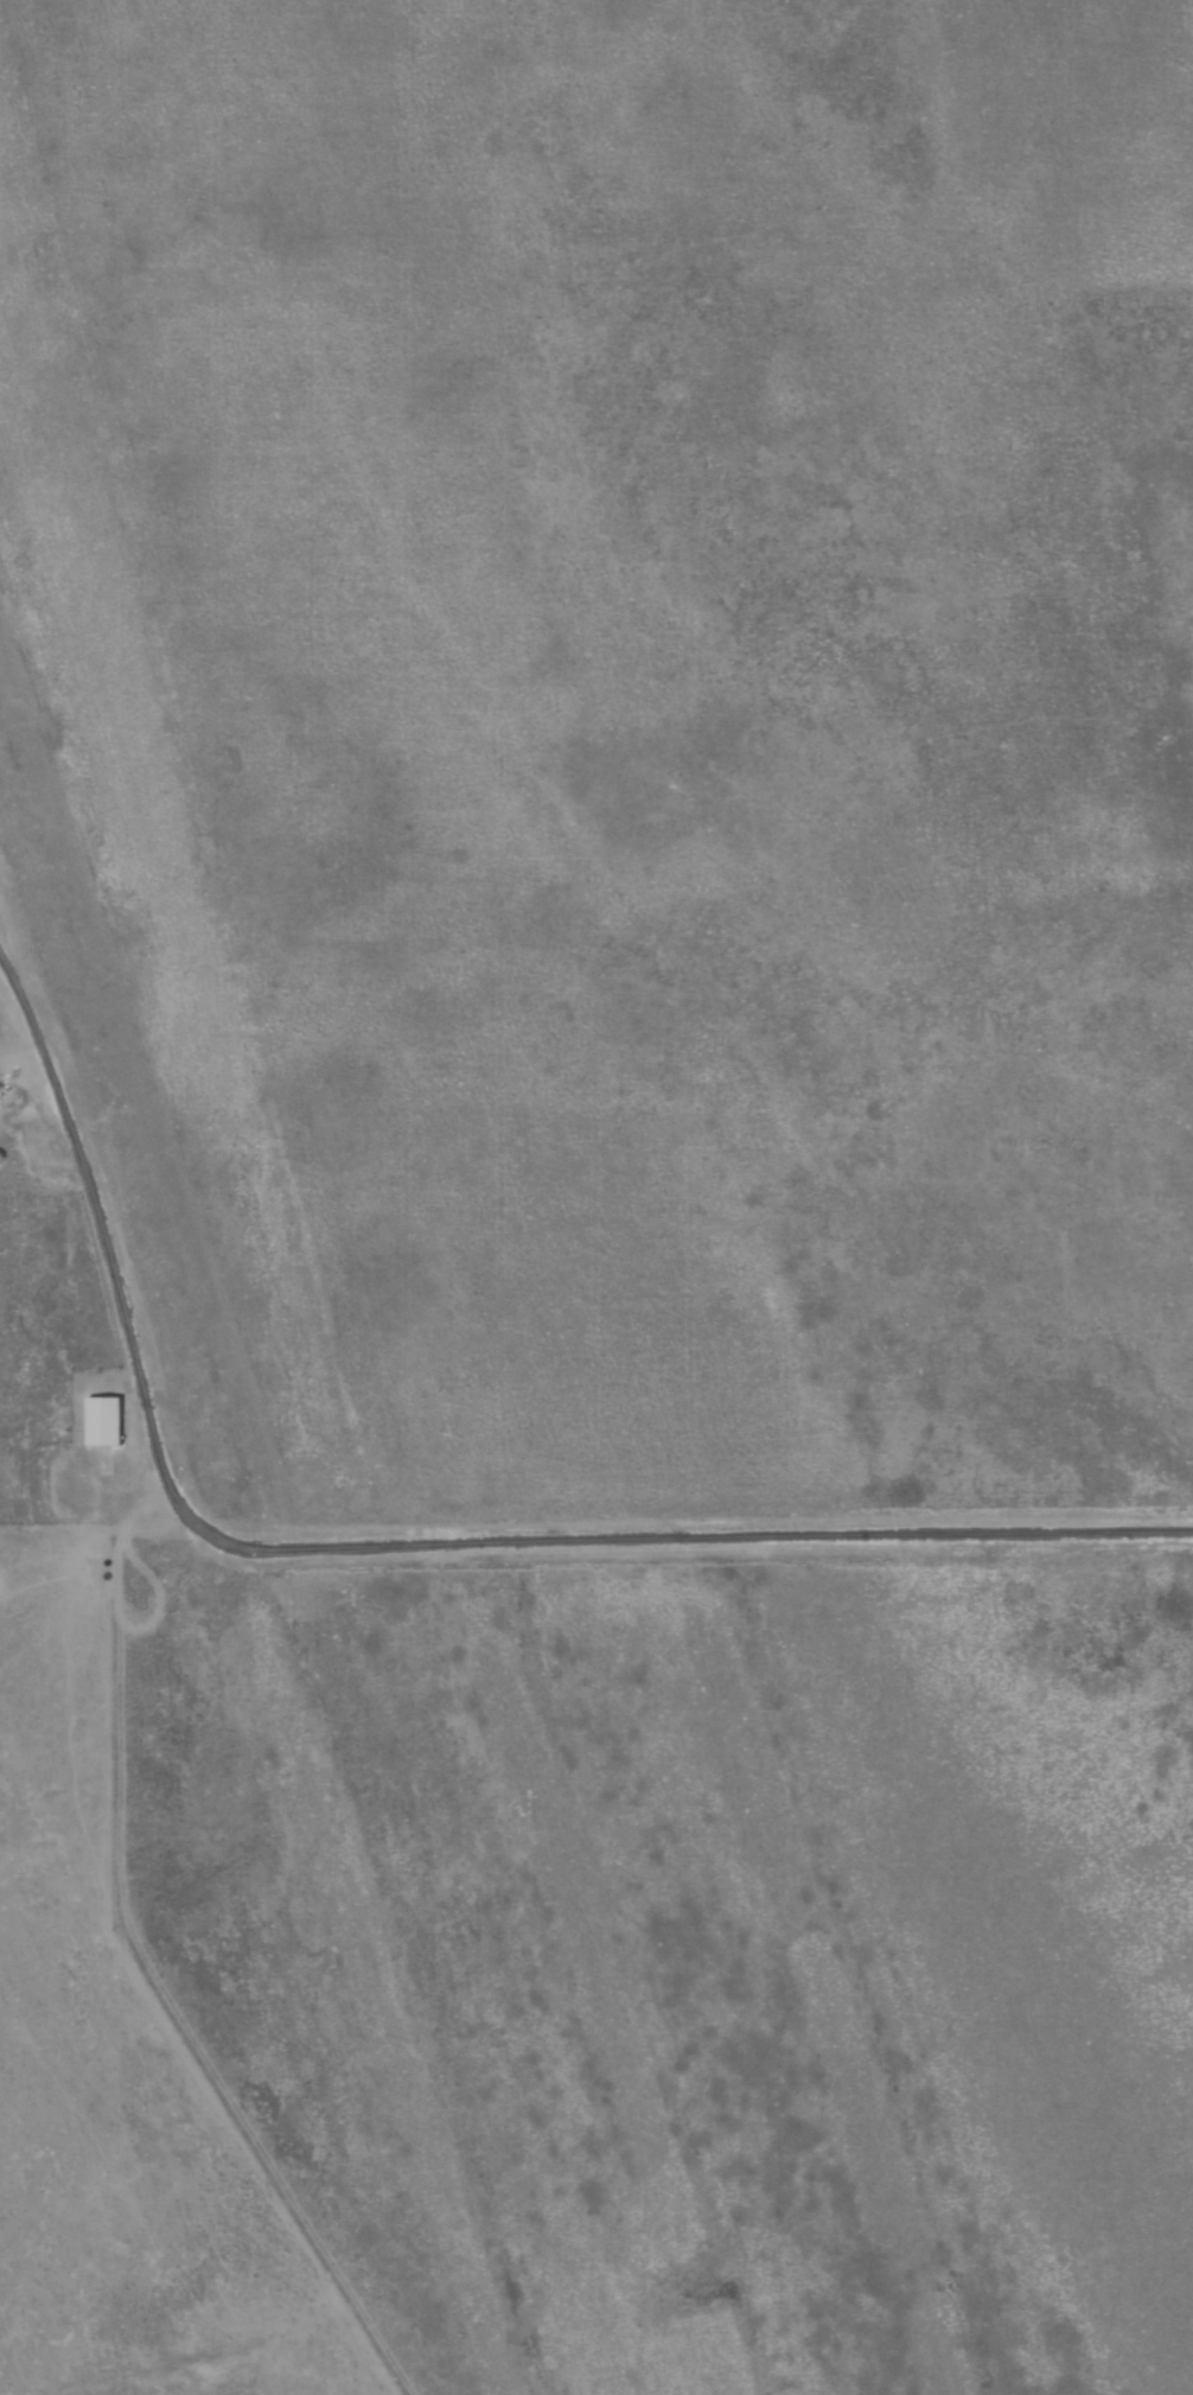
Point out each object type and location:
airport runway: (119, 1123)
building: (103, 1421)
road: (621, 1528)

